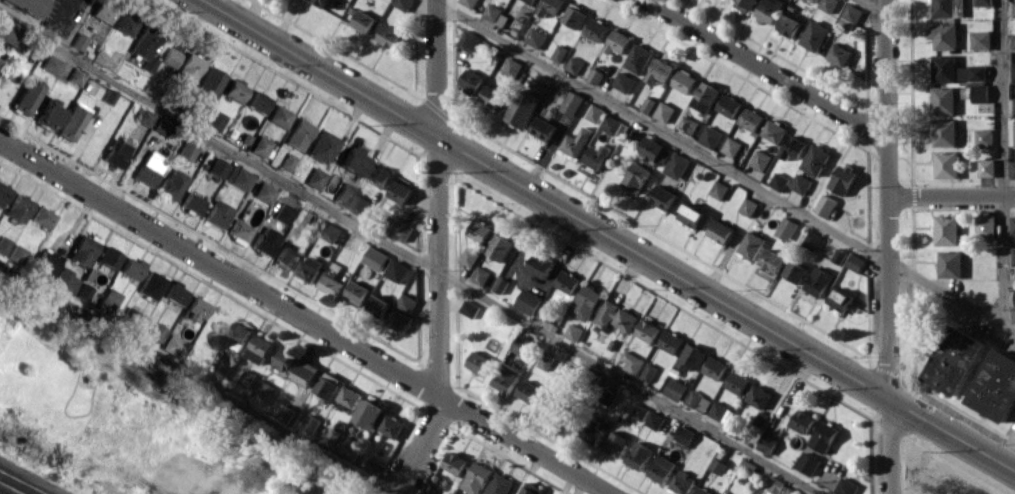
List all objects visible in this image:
building: (815, 0)
building: (532, 1)
building: (321, 2)
building: (469, 2)
building: (983, 2)
building: (404, 4)
building: (745, 4)
building: (27, 5)
building: (828, 5)
building: (551, 6)
road: (874, 7)
building: (949, 8)
building: (1013, 9)
building: (101, 10)
building: (770, 10)
building: (493, 12)
building: (575, 16)
building: (365, 21)
building: (123, 23)
building: (790, 25)
building: (597, 29)
building: (5, 35)
building: (815, 35)
building: (944, 35)
building: (391, 36)
building: (536, 37)
building: (981, 39)
building: (470, 41)
building: (1013, 41)
building: (618, 42)
building: (142, 50)
building: (560, 53)
building: (840, 55)
building: (169, 57)
building: (639, 58)
building: (49, 63)
building: (575, 65)
building: (186, 68)
building: (513, 68)
building: (945, 68)
road: (768, 69)
building: (660, 71)
building: (972, 72)
building: (1013, 72)
building: (74, 76)
building: (596, 76)
building: (472, 81)
building: (685, 81)
building: (207, 82)
building: (624, 82)
building: (233, 90)
building: (980, 93)
building: (25, 96)
building: (493, 96)
building: (706, 97)
road: (887, 98)
building: (944, 100)
building: (255, 101)
building: (529, 101)
building: (573, 103)
building: (649, 104)
building: (1014, 105)
building: (730, 106)
building: (665, 112)
building: (596, 113)
building: (47, 114)
building: (277, 116)
building: (143, 117)
building: (213, 119)
building: (752, 119)
building: (69, 121)
building: (611, 124)
building: (160, 125)
building: (544, 128)
building: (1014, 130)
building: (775, 131)
building: (945, 132)
building: (296, 133)
building: (711, 136)
building: (984, 136)
building: (576, 142)
building: (259, 146)
building: (321, 146)
building: (732, 147)
building: (794, 147)
building: (184, 149)
building: (656, 150)
building: (113, 152)
building: (597, 156)
building: (816, 159)
building: (352, 160)
building: (761, 160)
road: (1002, 162)
building: (947, 164)
building: (677, 165)
building: (216, 167)
building: (987, 167)
road: (724, 168)
building: (147, 169)
building: (1013, 169)
building: (380, 175)
building: (236, 176)
building: (636, 177)
building: (314, 178)
building: (844, 178)
building: (780, 181)
building: (170, 183)
building: (801, 183)
building: (719, 189)
building: (401, 191)
building: (3, 192)
building: (262, 192)
building: (343, 194)
building: (663, 197)
road: (951, 197)
road: (547, 199)
building: (190, 202)
building: (360, 204)
building: (749, 206)
building: (826, 206)
building: (17, 208)
building: (215, 213)
building: (283, 213)
building: (692, 215)
building: (41, 217)
building: (1013, 224)
building: (986, 226)
building: (787, 228)
building: (401, 229)
building: (481, 230)
building: (947, 230)
building: (237, 231)
building: (331, 231)
building: (721, 231)
building: (263, 240)
building: (813, 240)
building: (3, 244)
building: (752, 245)
building: (501, 247)
building: (82, 249)
road: (438, 251)
building: (16, 253)
building: (285, 255)
road: (410, 255)
building: (1013, 256)
building: (107, 257)
building: (470, 257)
building: (377, 258)
building: (773, 259)
building: (856, 262)
building: (45, 263)
building: (951, 263)
building: (541, 265)
building: (131, 267)
building: (310, 268)
building: (398, 271)
building: (795, 271)
building: (480, 276)
building: (819, 281)
building: (67, 282)
building: (569, 282)
building: (332, 283)
building: (150, 284)
building: (174, 292)
building: (358, 292)
building: (840, 298)
road: (889, 298)
building: (107, 301)
building: (529, 301)
building: (407, 302)
building: (587, 302)
building: (379, 305)
building: (470, 308)
building: (194, 309)
building: (1013, 314)
building: (616, 315)
road: (305, 318)
building: (401, 320)
building: (155, 331)
building: (649, 331)
building: (238, 335)
building: (672, 342)
building: (173, 345)
building: (525, 346)
building: (260, 348)
building: (693, 357)
building: (288, 358)
building: (956, 360)
building: (479, 362)
building: (633, 362)
building: (716, 368)
building: (305, 372)
building: (650, 372)
building: (507, 378)
road: (199, 380)
building: (738, 382)
building: (329, 384)
building: (997, 387)
building: (676, 389)
building: (529, 391)
building: (262, 392)
building: (350, 396)
building: (759, 396)
building: (699, 401)
building: (549, 408)
building: (718, 410)
building: (641, 412)
building: (370, 413)
building: (656, 420)
building: (571, 421)
building: (804, 421)
building: (311, 424)
building: (392, 426)
building: (593, 433)
building: (685, 435)
road: (953, 435)
building: (825, 436)
building: (768, 443)
building: (616, 446)
road: (891, 447)
building: (350, 448)
building: (640, 455)
building: (456, 463)
building: (808, 463)
building: (374, 465)
building: (661, 468)
building: (477, 478)
railway: (24, 481)
building: (682, 482)
building: (500, 484)
building: (775, 485)
building: (846, 486)
railway: (11, 488)
building: (531, 488)
building: (703, 491)

